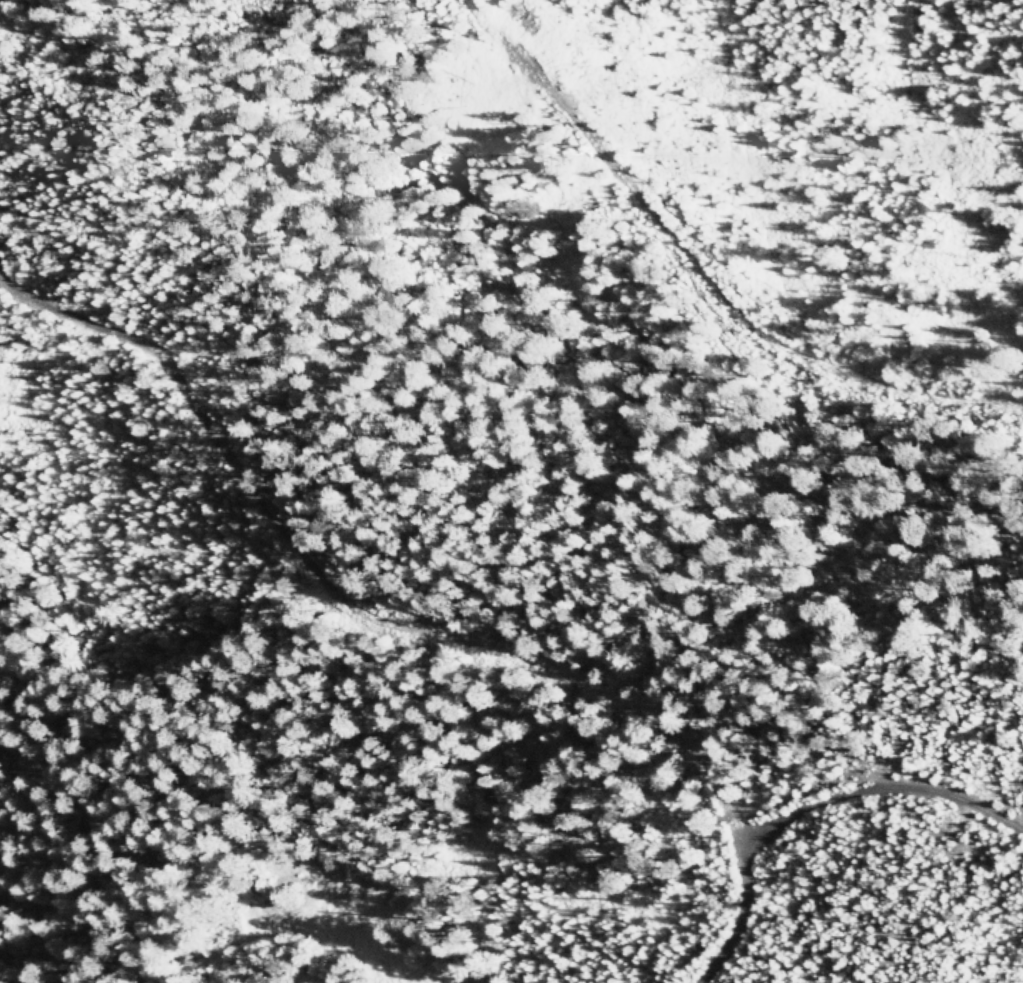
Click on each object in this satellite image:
road: (696, 275)
road: (361, 606)
road: (806, 801)

